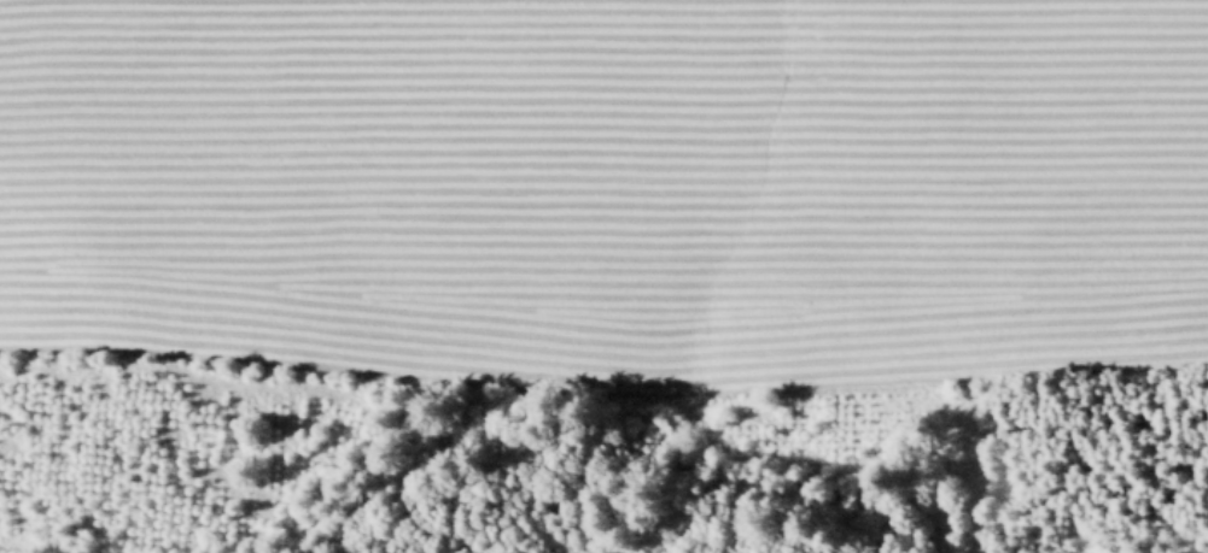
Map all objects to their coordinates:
crop: (653, 213)

